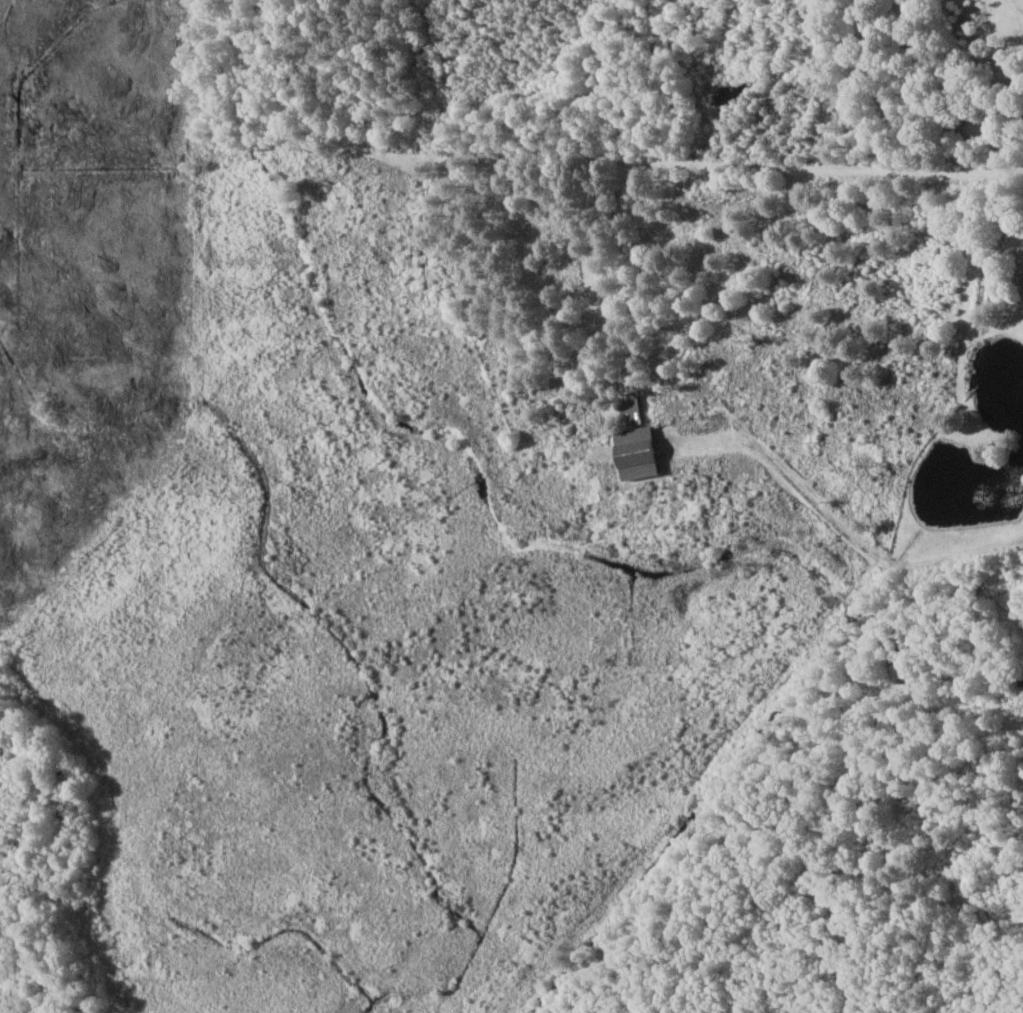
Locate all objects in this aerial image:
building: (633, 407)
building: (642, 451)

